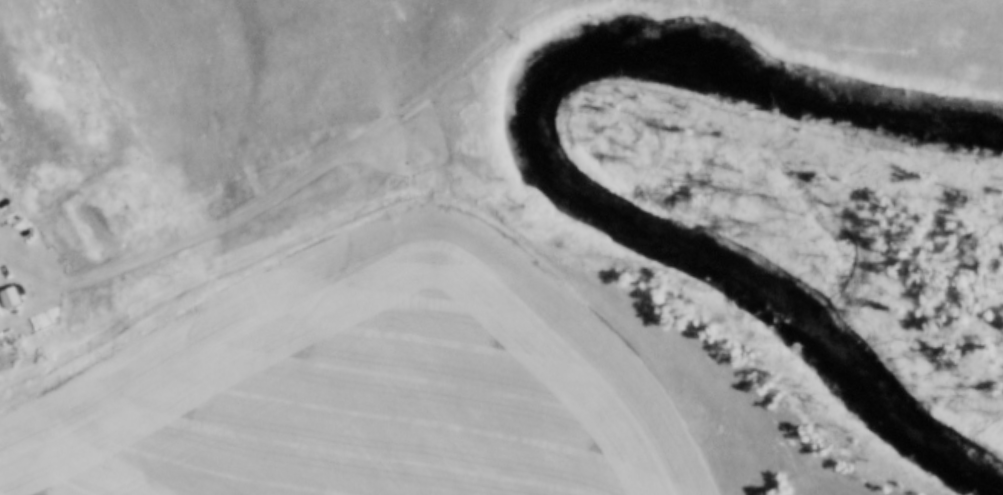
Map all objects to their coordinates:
building: (1, 138)
river: (527, 160)
road: (2, 266)
building: (11, 298)
building: (1, 313)

